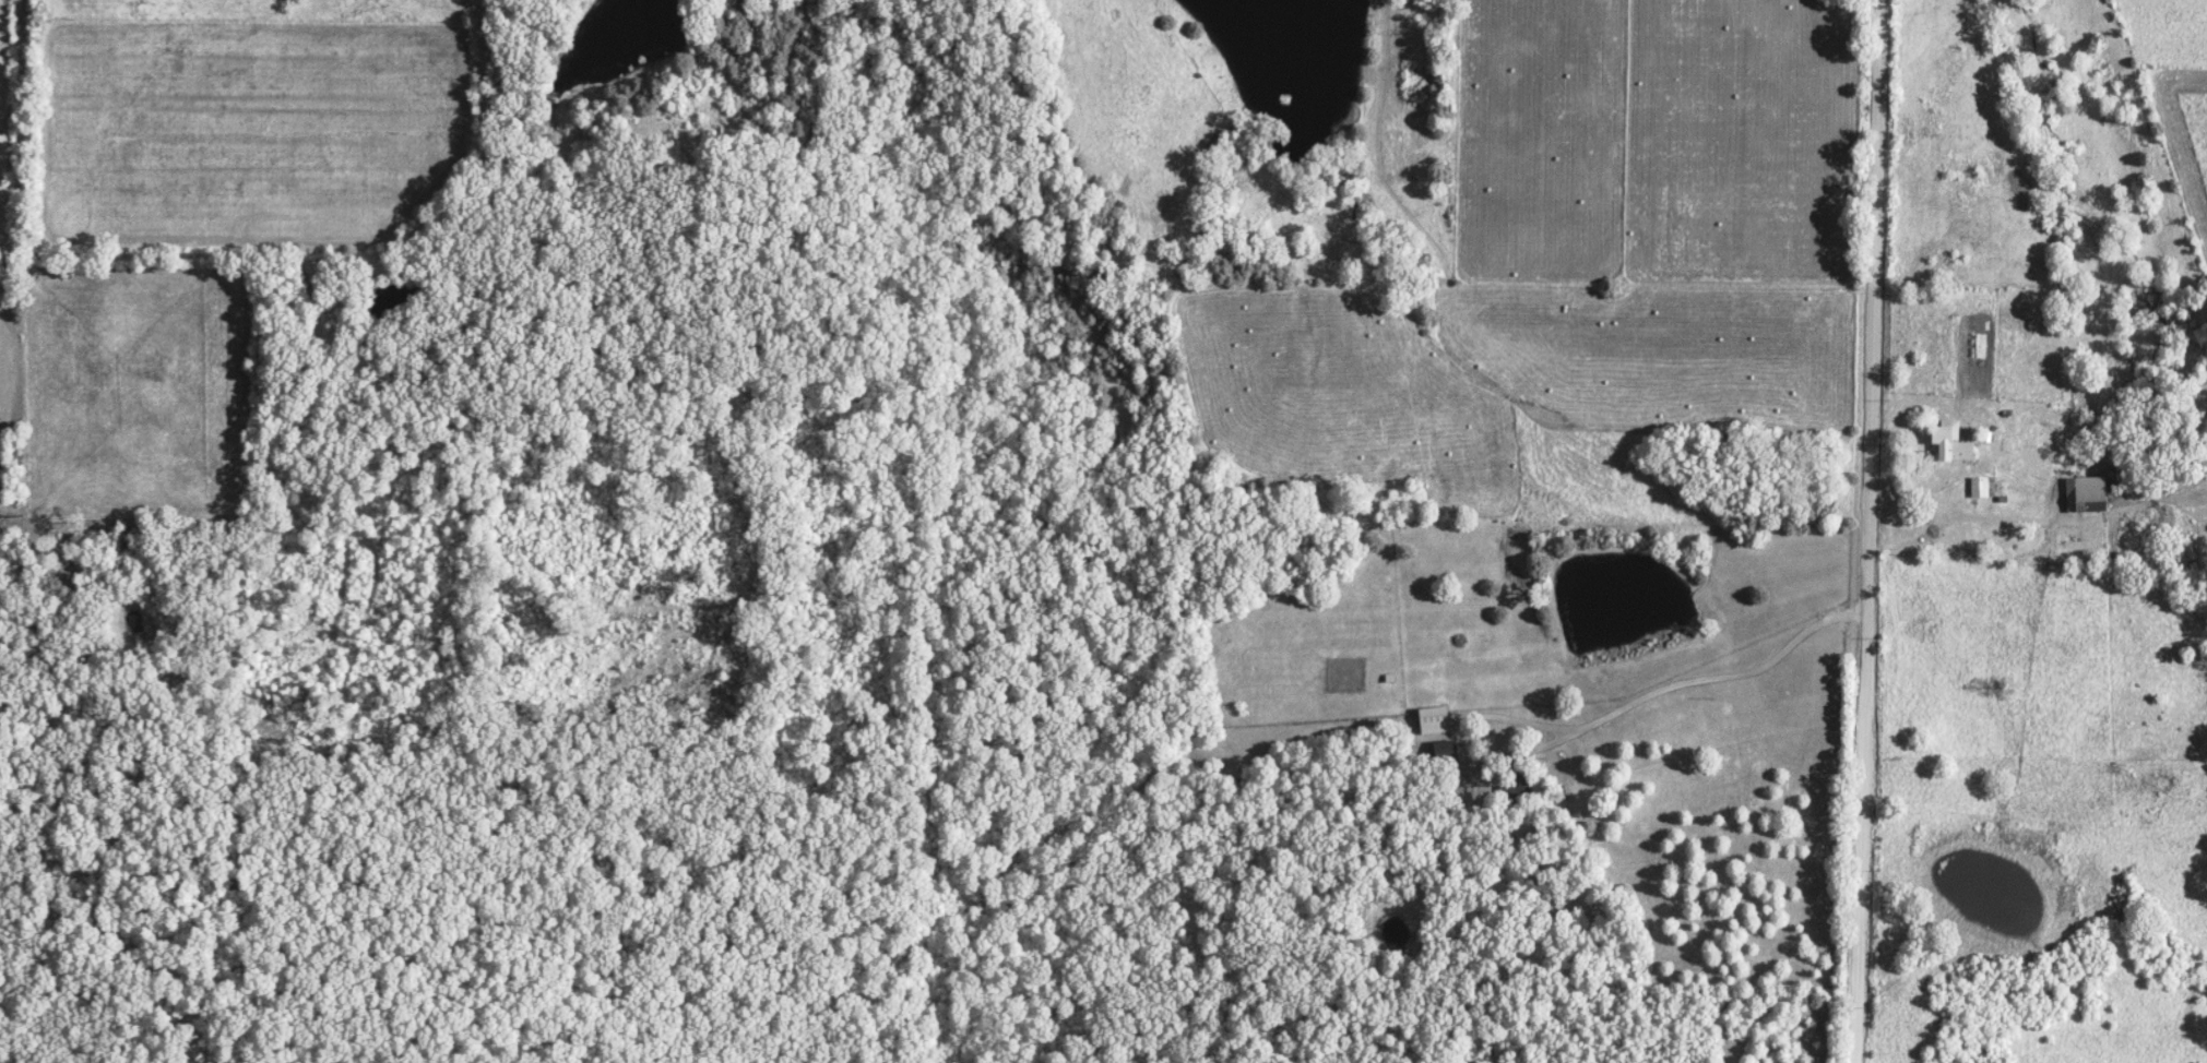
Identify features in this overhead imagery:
road: (14, 131)
building: (1948, 442)
building: (1977, 488)
building: (2080, 492)
road: (1980, 517)
road: (1865, 531)
road: (1918, 547)
road: (1721, 678)
building: (1431, 720)
road: (1479, 757)

